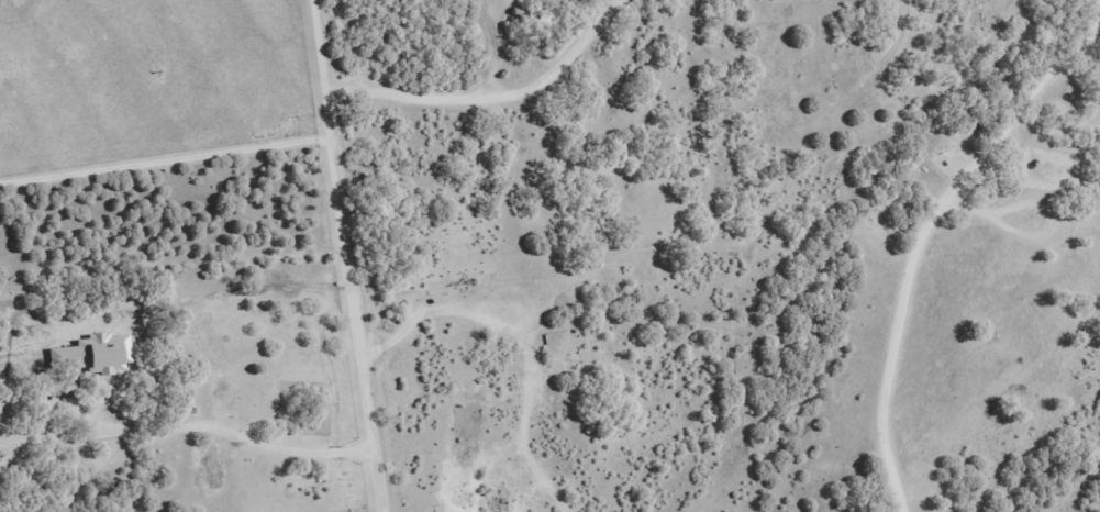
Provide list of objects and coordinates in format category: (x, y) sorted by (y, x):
road: (489, 98)
road: (344, 256)

